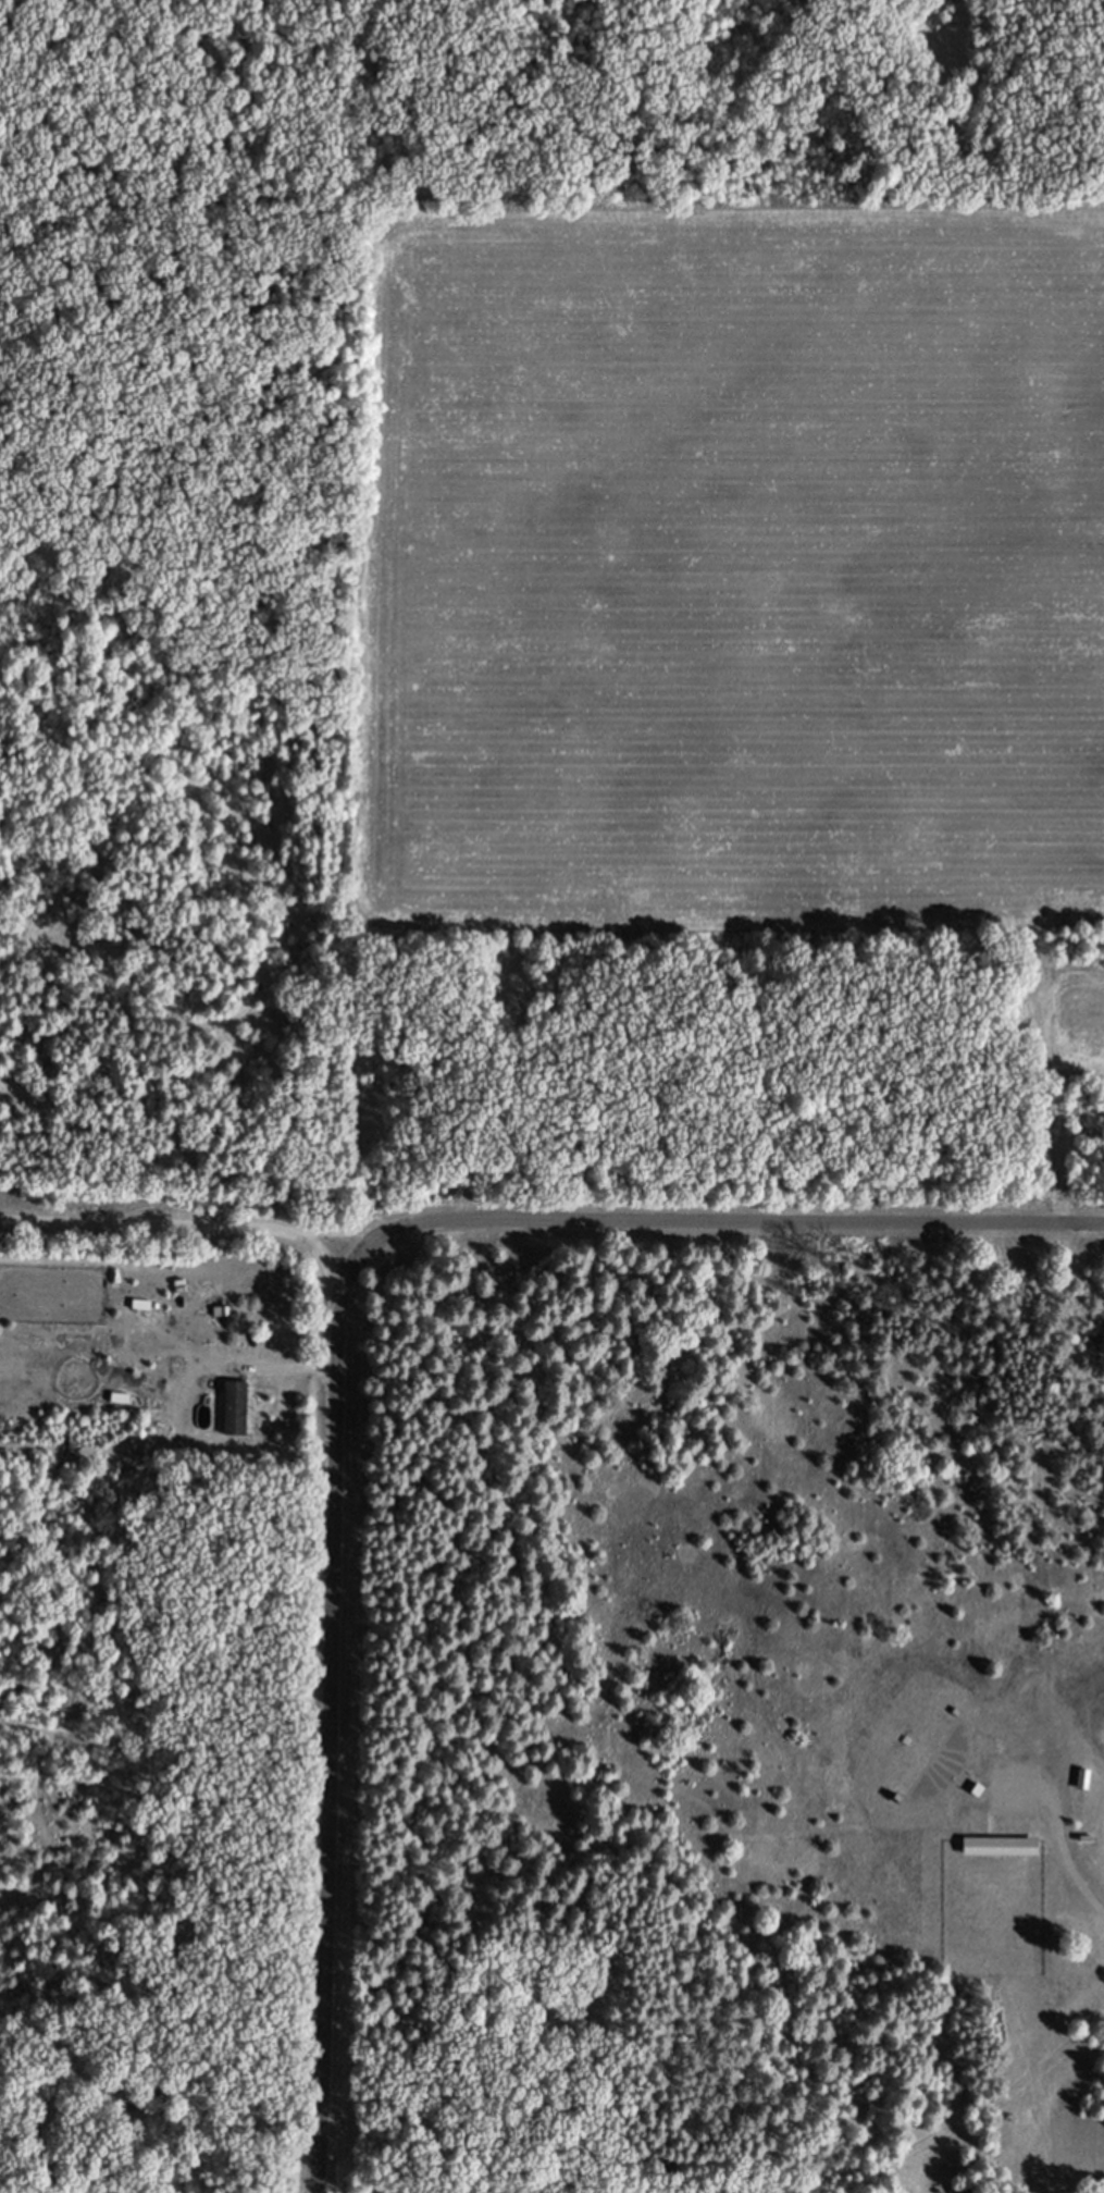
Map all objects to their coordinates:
road: (716, 1218)
road: (165, 1224)
building: (233, 1418)
road: (324, 1713)
building: (1080, 1789)
building: (1080, 1832)
building: (997, 1847)
road: (1066, 1855)

